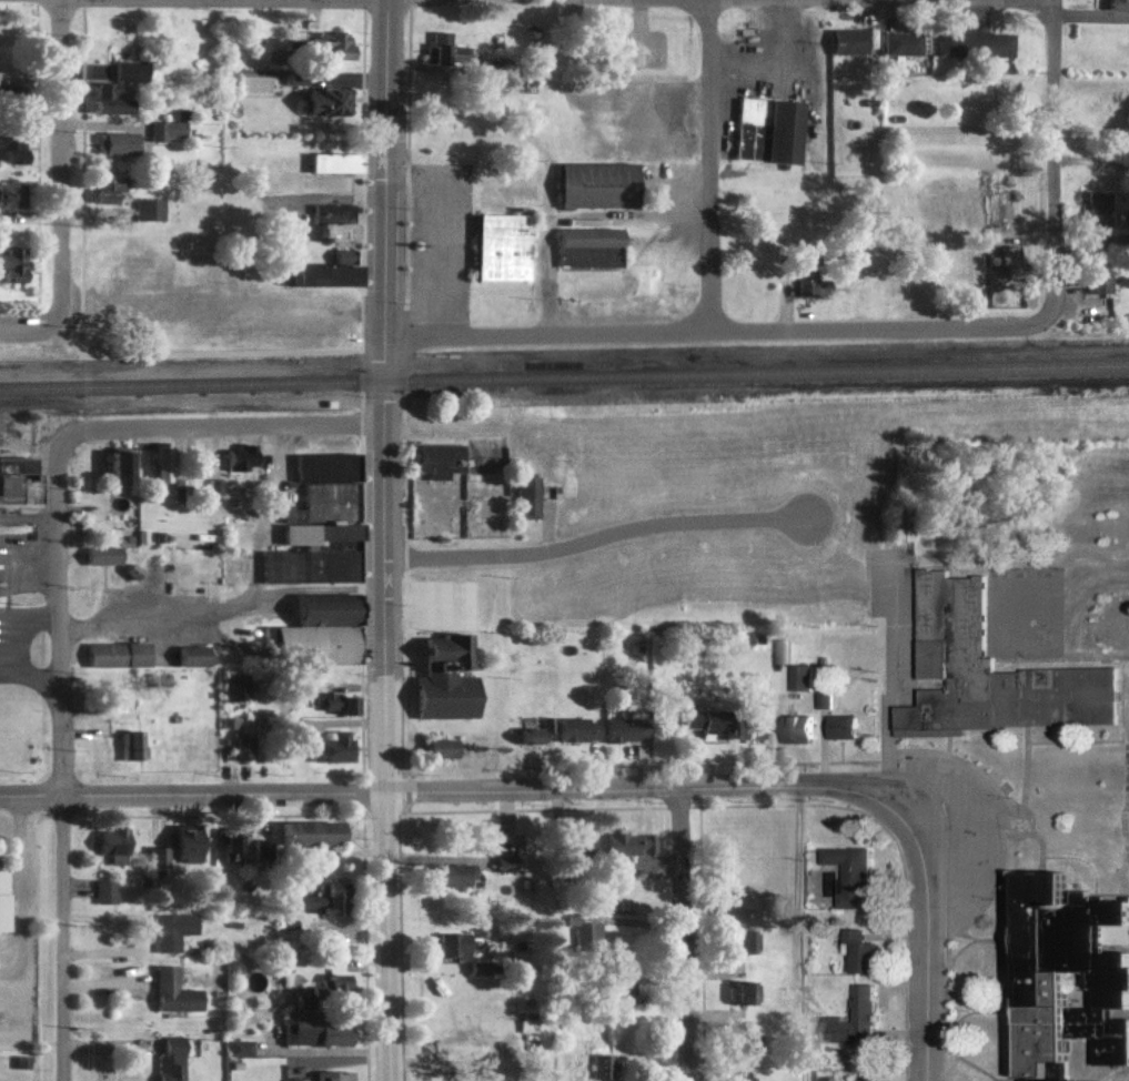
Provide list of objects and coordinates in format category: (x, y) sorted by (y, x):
road: (385, 0)
road: (412, 0)
road: (950, 1)
building: (1118, 3)
building: (855, 40)
building: (908, 42)
building: (980, 42)
building: (326, 46)
building: (444, 48)
building: (129, 70)
building: (295, 77)
building: (6, 94)
building: (107, 101)
building: (317, 101)
building: (433, 111)
building: (637, 112)
building: (165, 130)
building: (772, 130)
building: (112, 143)
building: (11, 148)
road: (57, 156)
road: (1059, 159)
road: (1095, 159)
building: (327, 162)
road: (703, 165)
building: (597, 184)
building: (103, 185)
building: (6, 195)
building: (147, 209)
building: (1105, 211)
building: (332, 222)
road: (445, 245)
building: (502, 246)
building: (589, 246)
building: (1015, 261)
building: (10, 265)
building: (314, 275)
building: (1106, 279)
building: (810, 283)
road: (871, 327)
road: (30, 330)
road: (540, 335)
railway: (564, 376)
road: (206, 425)
building: (240, 456)
building: (441, 459)
building: (160, 463)
building: (118, 466)
building: (19, 479)
building: (322, 484)
building: (215, 486)
building: (180, 488)
building: (528, 496)
building: (901, 522)
road: (595, 537)
road: (381, 540)
building: (312, 554)
building: (102, 555)
road: (239, 600)
road: (59, 629)
building: (317, 632)
building: (115, 653)
building: (192, 655)
building: (985, 671)
building: (802, 675)
building: (445, 677)
building: (826, 697)
building: (336, 703)
building: (706, 723)
building: (843, 725)
building: (748, 727)
building: (798, 727)
building: (576, 728)
building: (624, 728)
building: (533, 730)
building: (128, 745)
building: (235, 746)
building: (331, 747)
building: (437, 748)
road: (592, 787)
building: (305, 831)
building: (626, 842)
building: (109, 843)
building: (228, 845)
building: (174, 846)
building: (574, 847)
building: (262, 848)
building: (503, 863)
building: (853, 872)
building: (448, 873)
building: (102, 891)
building: (1, 898)
building: (319, 898)
building: (582, 930)
building: (162, 932)
road: (797, 932)
road: (677, 933)
road: (59, 937)
building: (302, 939)
building: (737, 940)
building: (448, 944)
building: (864, 950)
building: (1066, 974)
building: (609, 980)
building: (314, 986)
building: (168, 991)
building: (737, 991)
building: (857, 1019)
building: (310, 1028)
building: (738, 1042)
building: (234, 1049)
building: (167, 1058)
road: (960, 1063)
building: (596, 1065)
building: (326, 1075)
building: (827, 1078)
building: (291, 1079)

